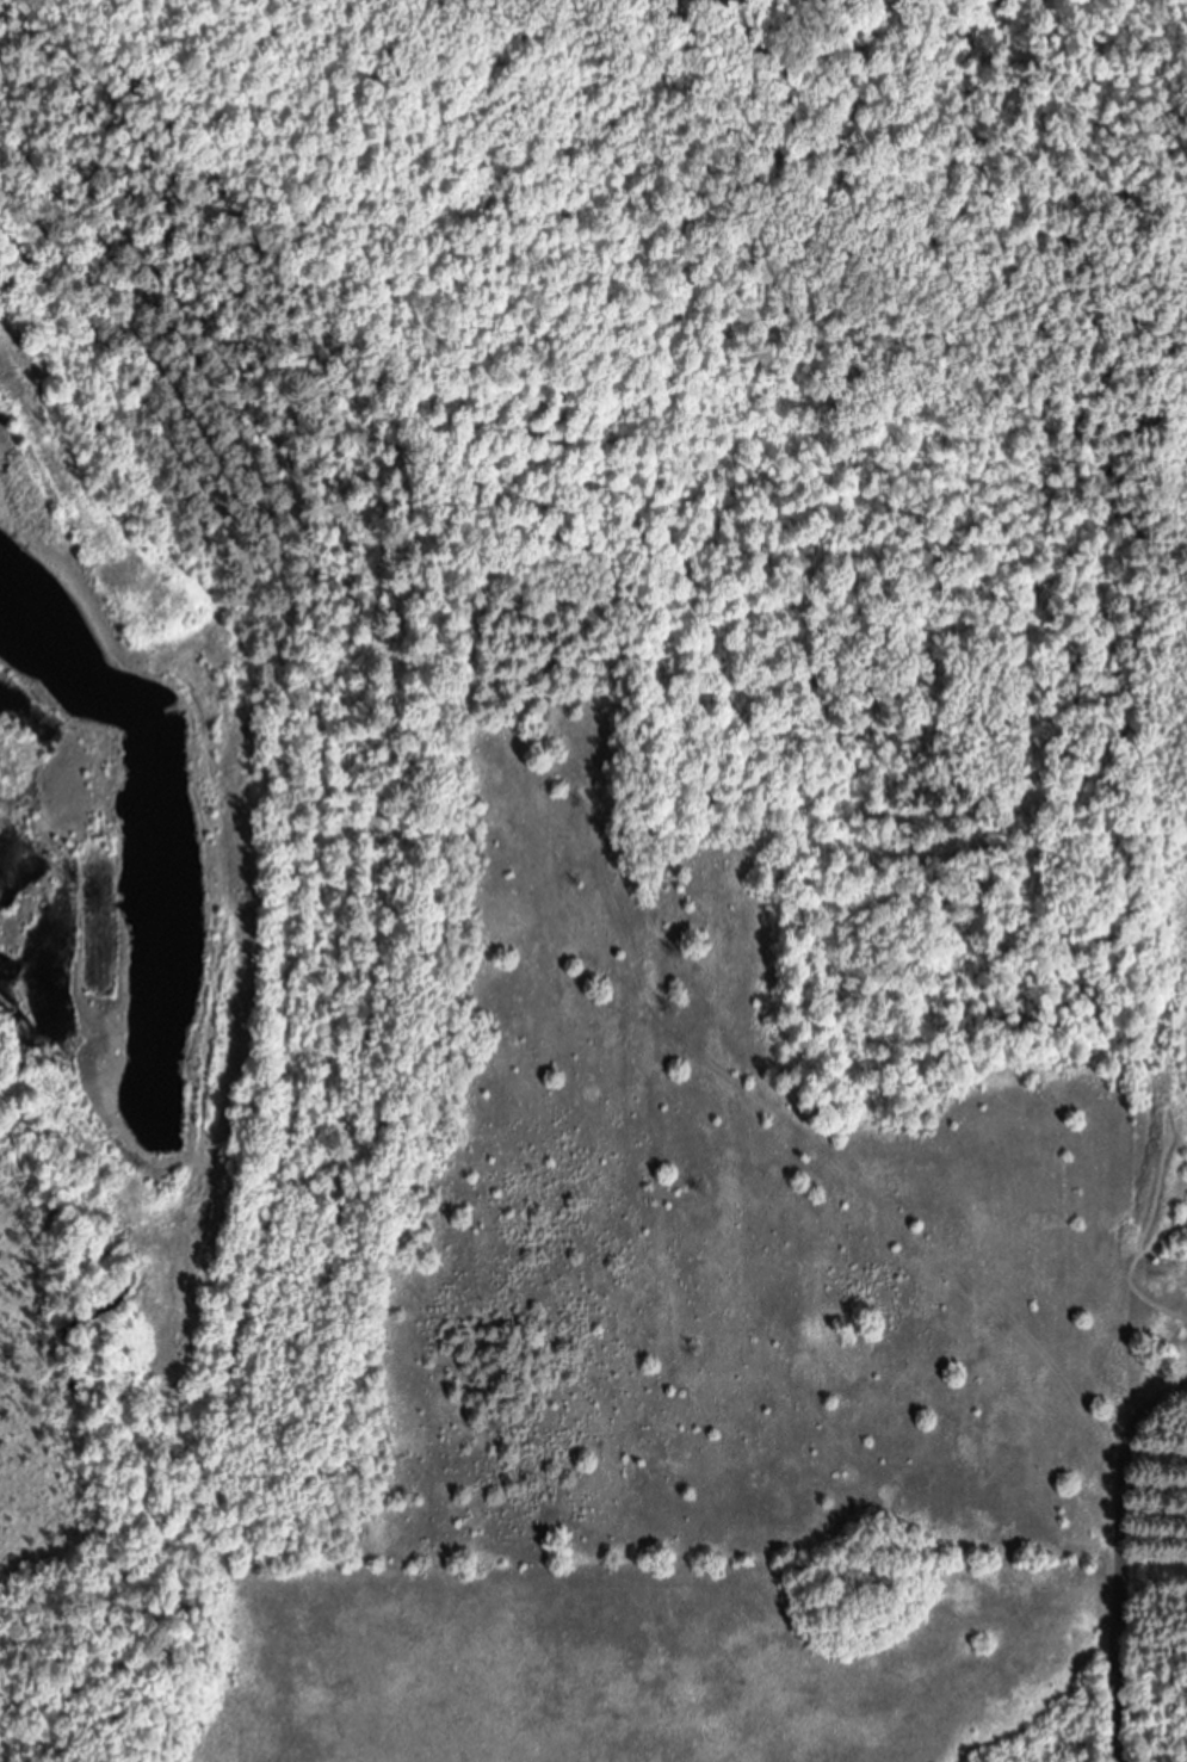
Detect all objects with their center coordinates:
quarry: (563, 958)
road: (1163, 1399)
road: (1127, 1588)

